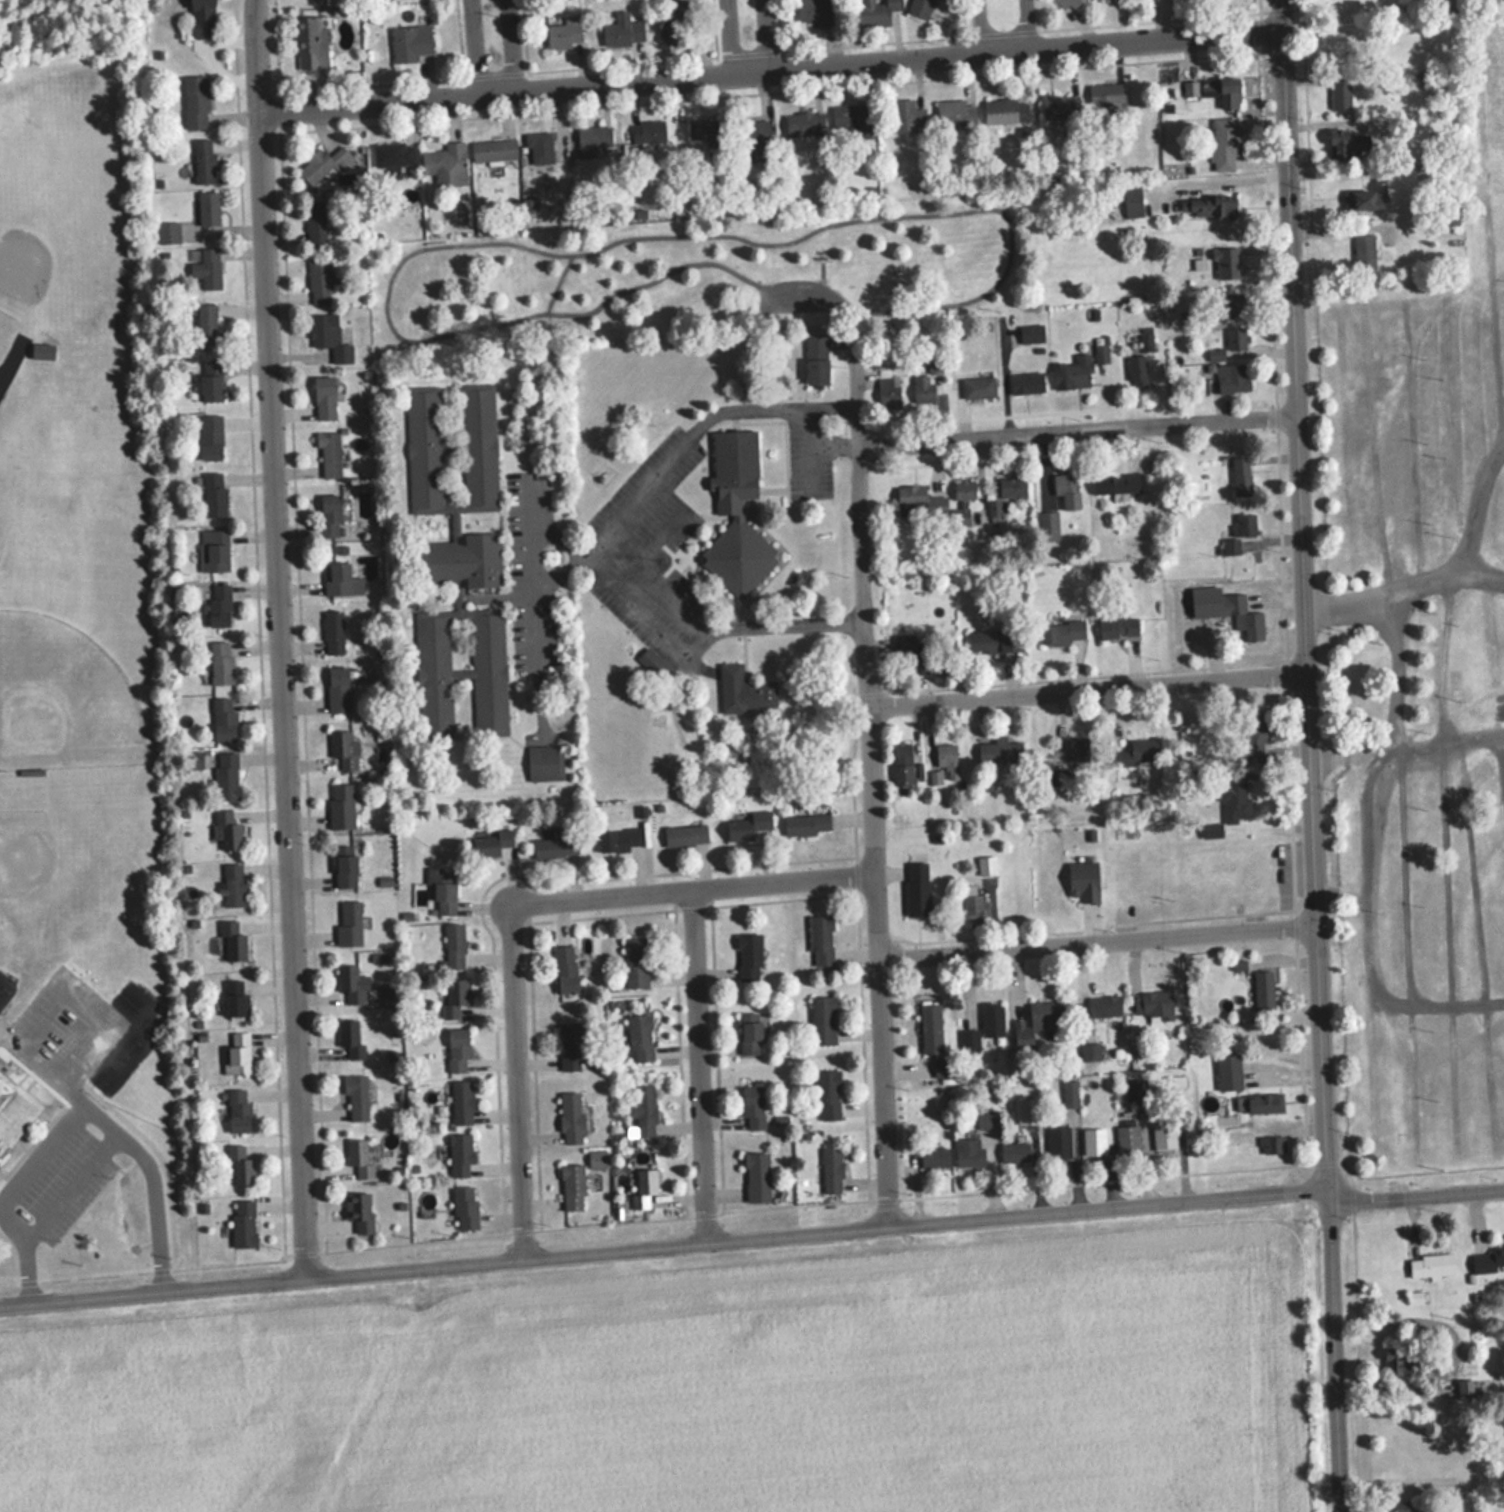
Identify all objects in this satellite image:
building: (1068, 3)
building: (919, 9)
building: (816, 12)
building: (874, 13)
building: (202, 18)
building: (673, 22)
road: (1036, 22)
road: (979, 25)
building: (623, 31)
road: (765, 32)
building: (565, 33)
road: (725, 34)
road: (518, 42)
building: (310, 43)
building: (411, 43)
road: (478, 45)
road: (772, 64)
building: (1214, 90)
building: (1340, 92)
building: (1107, 97)
building: (195, 102)
building: (1060, 106)
building: (1005, 111)
building: (954, 113)
building: (907, 116)
building: (849, 121)
building: (804, 124)
building: (647, 130)
building: (704, 130)
building: (596, 136)
building: (755, 137)
building: (1347, 143)
building: (1225, 144)
building: (538, 145)
building: (492, 151)
building: (393, 156)
building: (203, 160)
building: (322, 164)
building: (446, 164)
road: (1229, 180)
building: (1365, 200)
building: (1131, 201)
building: (1207, 206)
building: (208, 207)
building: (315, 222)
building: (168, 231)
road: (1491, 236)
building: (1363, 252)
building: (1226, 262)
building: (208, 266)
park: (697, 273)
building: (320, 281)
building: (1233, 306)
building: (206, 326)
building: (1032, 333)
building: (330, 337)
building: (1234, 339)
building: (42, 350)
building: (816, 358)
building: (1136, 367)
building: (1073, 372)
building: (1232, 378)
building: (211, 381)
building: (1026, 382)
building: (926, 385)
building: (978, 387)
building: (888, 391)
building: (324, 397)
road: (1455, 427)
road: (1077, 428)
building: (211, 437)
road: (1415, 439)
road: (1377, 443)
building: (329, 453)
building: (1241, 475)
building: (1115, 482)
building: (1067, 488)
building: (1006, 493)
building: (214, 494)
building: (963, 499)
building: (918, 501)
road: (1476, 503)
building: (330, 514)
road: (616, 514)
building: (735, 514)
building: (1245, 523)
building: (1049, 525)
building: (215, 549)
building: (456, 563)
building: (341, 580)
road: (1402, 586)
building: (218, 605)
building: (1227, 609)
building: (1118, 628)
road: (1487, 629)
building: (333, 632)
building: (1061, 632)
road: (282, 639)
building: (994, 640)
road: (699, 645)
building: (933, 658)
road: (1440, 661)
building: (221, 663)
road: (1393, 671)
road: (1085, 687)
building: (338, 689)
building: (743, 691)
road: (1490, 710)
building: (223, 719)
road: (1493, 727)
building: (1254, 737)
building: (1078, 748)
road: (1442, 748)
building: (344, 749)
building: (1000, 750)
building: (1143, 750)
road: (1306, 756)
building: (193, 759)
building: (947, 759)
building: (544, 762)
building: (904, 763)
building: (226, 775)
building: (936, 776)
road: (872, 786)
building: (1234, 797)
building: (341, 805)
building: (807, 824)
building: (746, 825)
building: (227, 828)
building: (685, 835)
building: (619, 839)
building: (490, 842)
building: (556, 843)
building: (986, 864)
building: (346, 866)
building: (1083, 880)
building: (233, 884)
building: (441, 888)
road: (696, 888)
building: (973, 906)
building: (349, 922)
road: (1371, 931)
building: (821, 940)
building: (232, 941)
road: (1096, 941)
building: (454, 945)
road: (1480, 949)
road: (1451, 950)
building: (749, 957)
road: (1410, 958)
building: (635, 962)
building: (1238, 965)
building: (565, 969)
building: (352, 983)
building: (1263, 989)
building: (235, 998)
building: (455, 999)
building: (1154, 1005)
building: (1104, 1006)
building: (992, 1019)
building: (823, 1020)
building: (1037, 1022)
building: (930, 1028)
building: (750, 1034)
building: (350, 1038)
building: (639, 1038)
building: (969, 1042)
building: (570, 1047)
building: (458, 1050)
building: (238, 1052)
building: (1089, 1052)
road: (700, 1068)
building: (941, 1068)
building: (1228, 1072)
road: (524, 1082)
building: (1136, 1089)
building: (827, 1094)
building: (356, 1095)
building: (462, 1102)
building: (1262, 1103)
building: (752, 1106)
building: (642, 1108)
building: (14, 1111)
building: (238, 1111)
building: (570, 1118)
building: (985, 1120)
road: (115, 1132)
building: (1163, 1136)
building: (1128, 1141)
building: (1093, 1142)
building: (1059, 1143)
building: (1272, 1144)
building: (968, 1152)
building: (460, 1153)
building: (1015, 1153)
building: (358, 1157)
building: (934, 1158)
building: (596, 1159)
building: (239, 1165)
building: (831, 1169)
building: (756, 1176)
building: (572, 1186)
building: (644, 1187)
road: (1414, 1194)
building: (465, 1207)
building: (359, 1210)
building: (243, 1223)
road: (663, 1250)
road: (17, 1251)
building: (1488, 1260)
building: (1432, 1265)
building: (1398, 1360)
building: (1474, 1388)
building: (1402, 1510)

